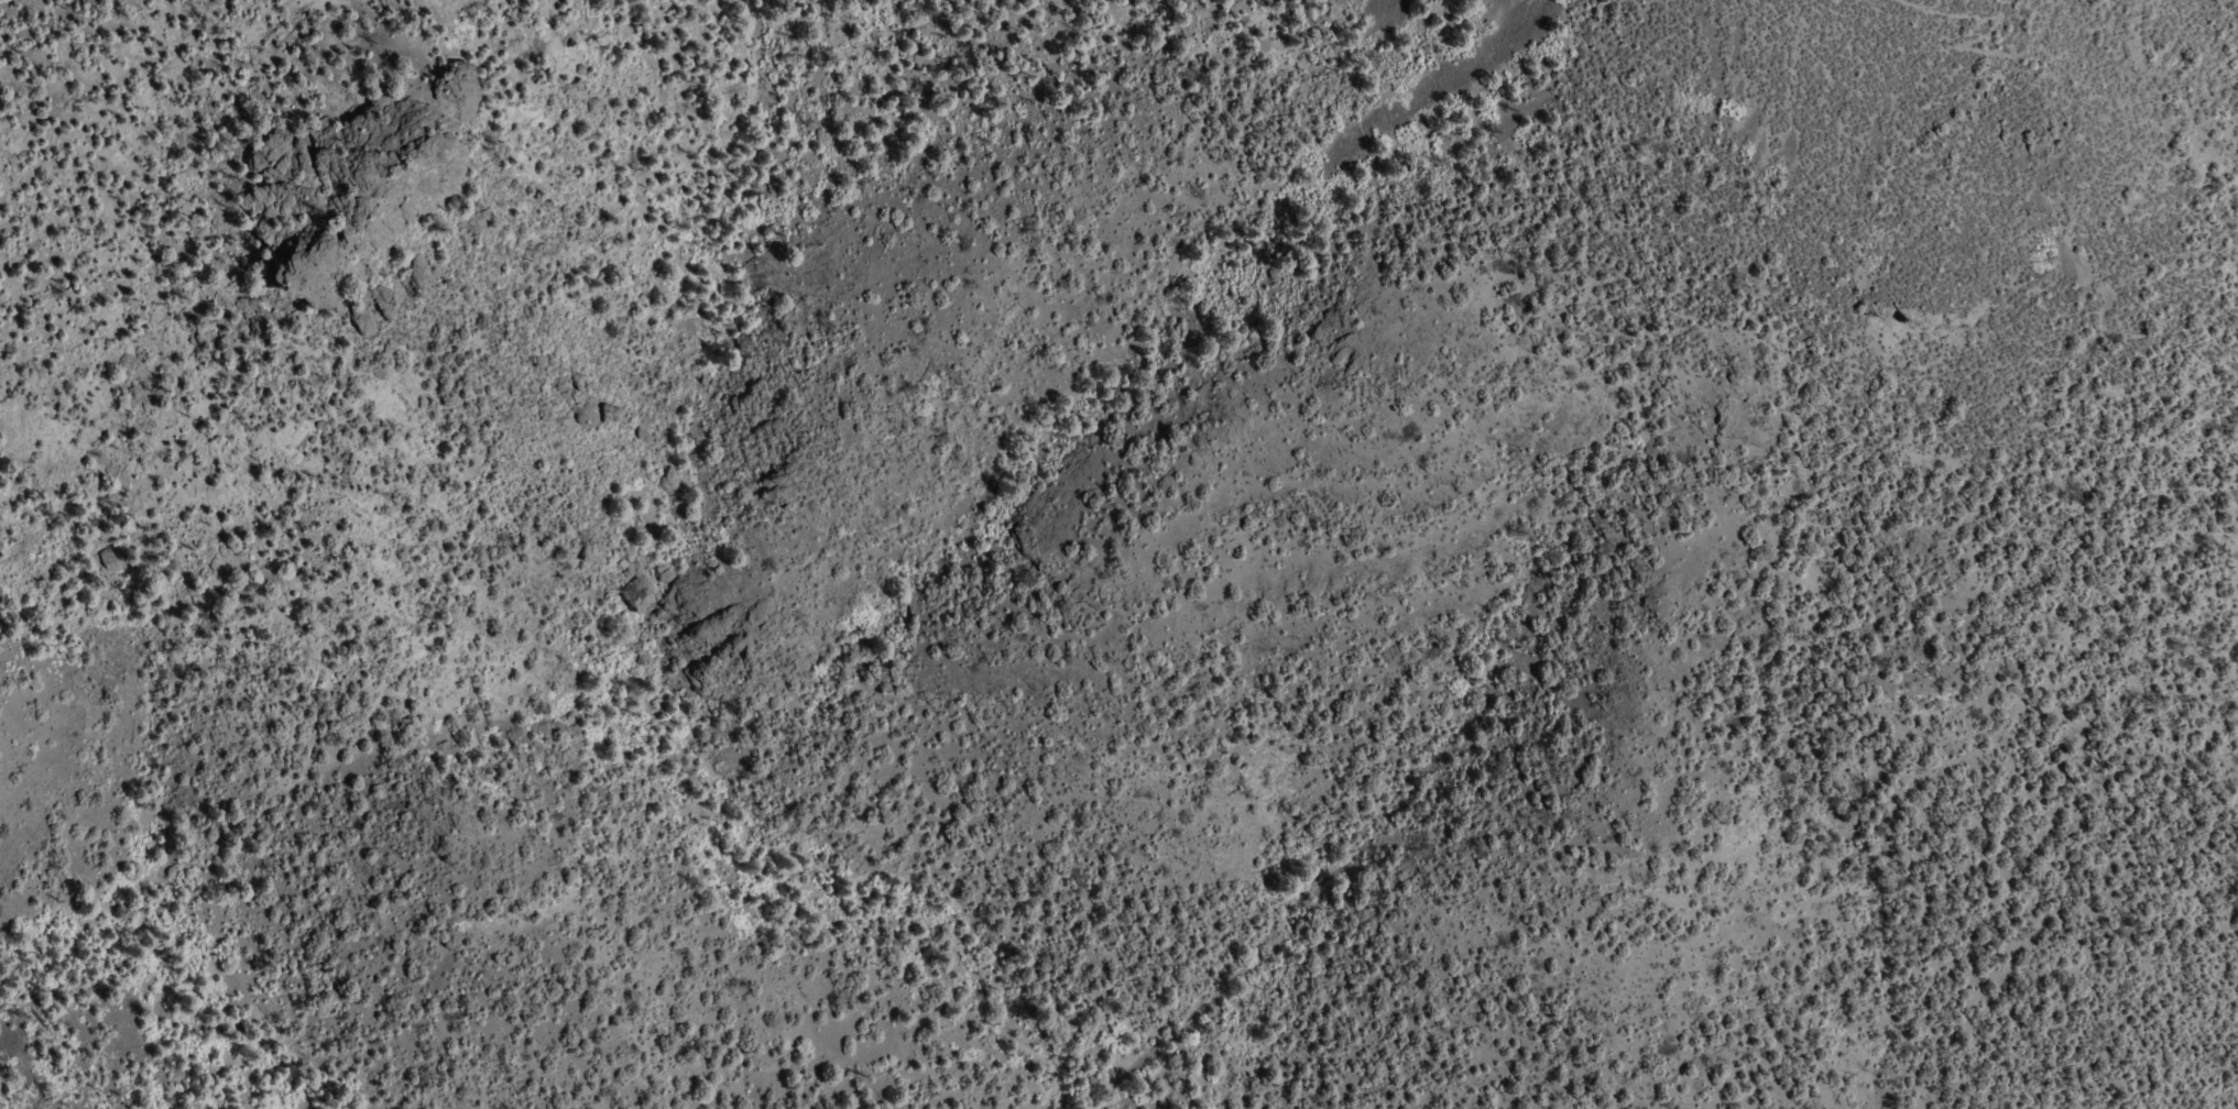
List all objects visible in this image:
road: (1965, 42)

